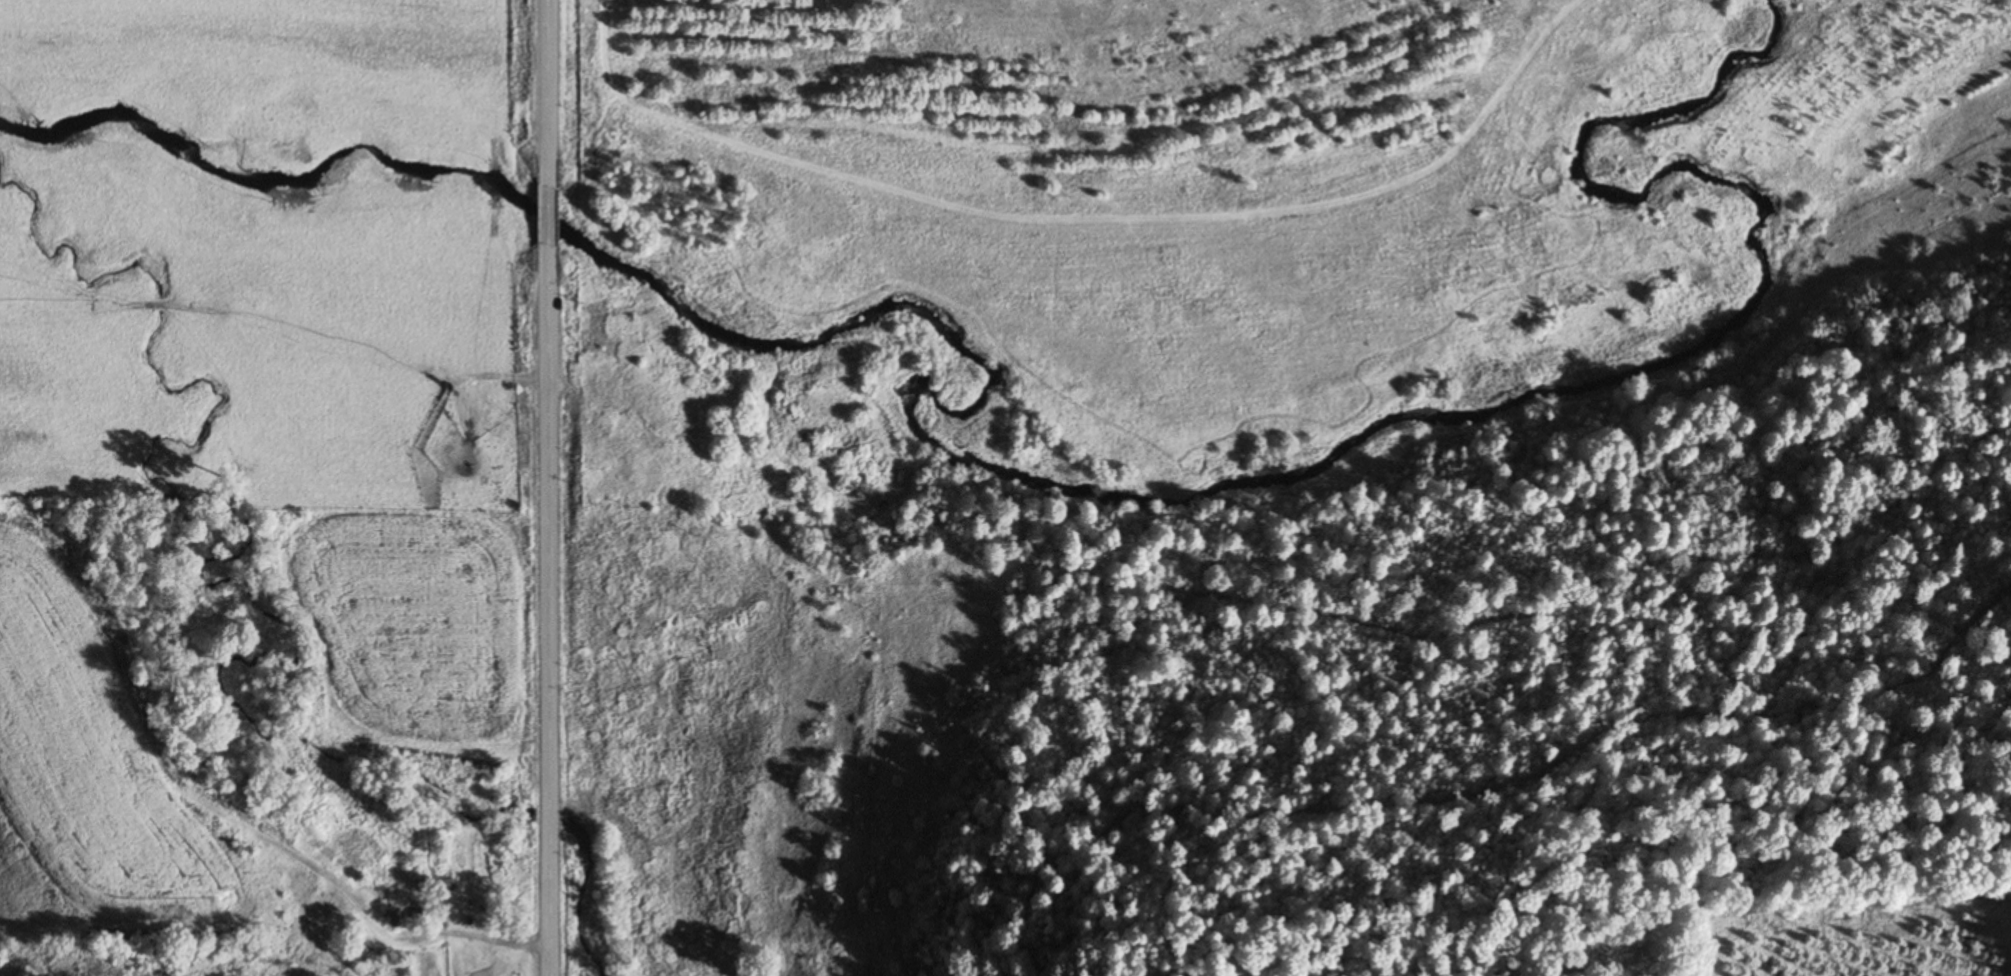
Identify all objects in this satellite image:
road: (549, 94)
road: (549, 216)
road: (548, 610)

